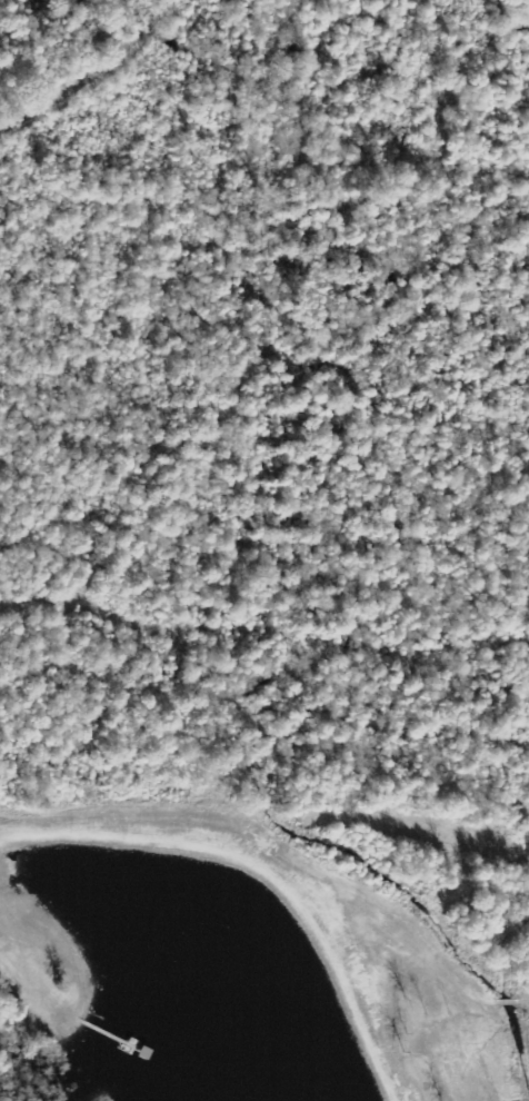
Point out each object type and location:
road: (98, 77)

